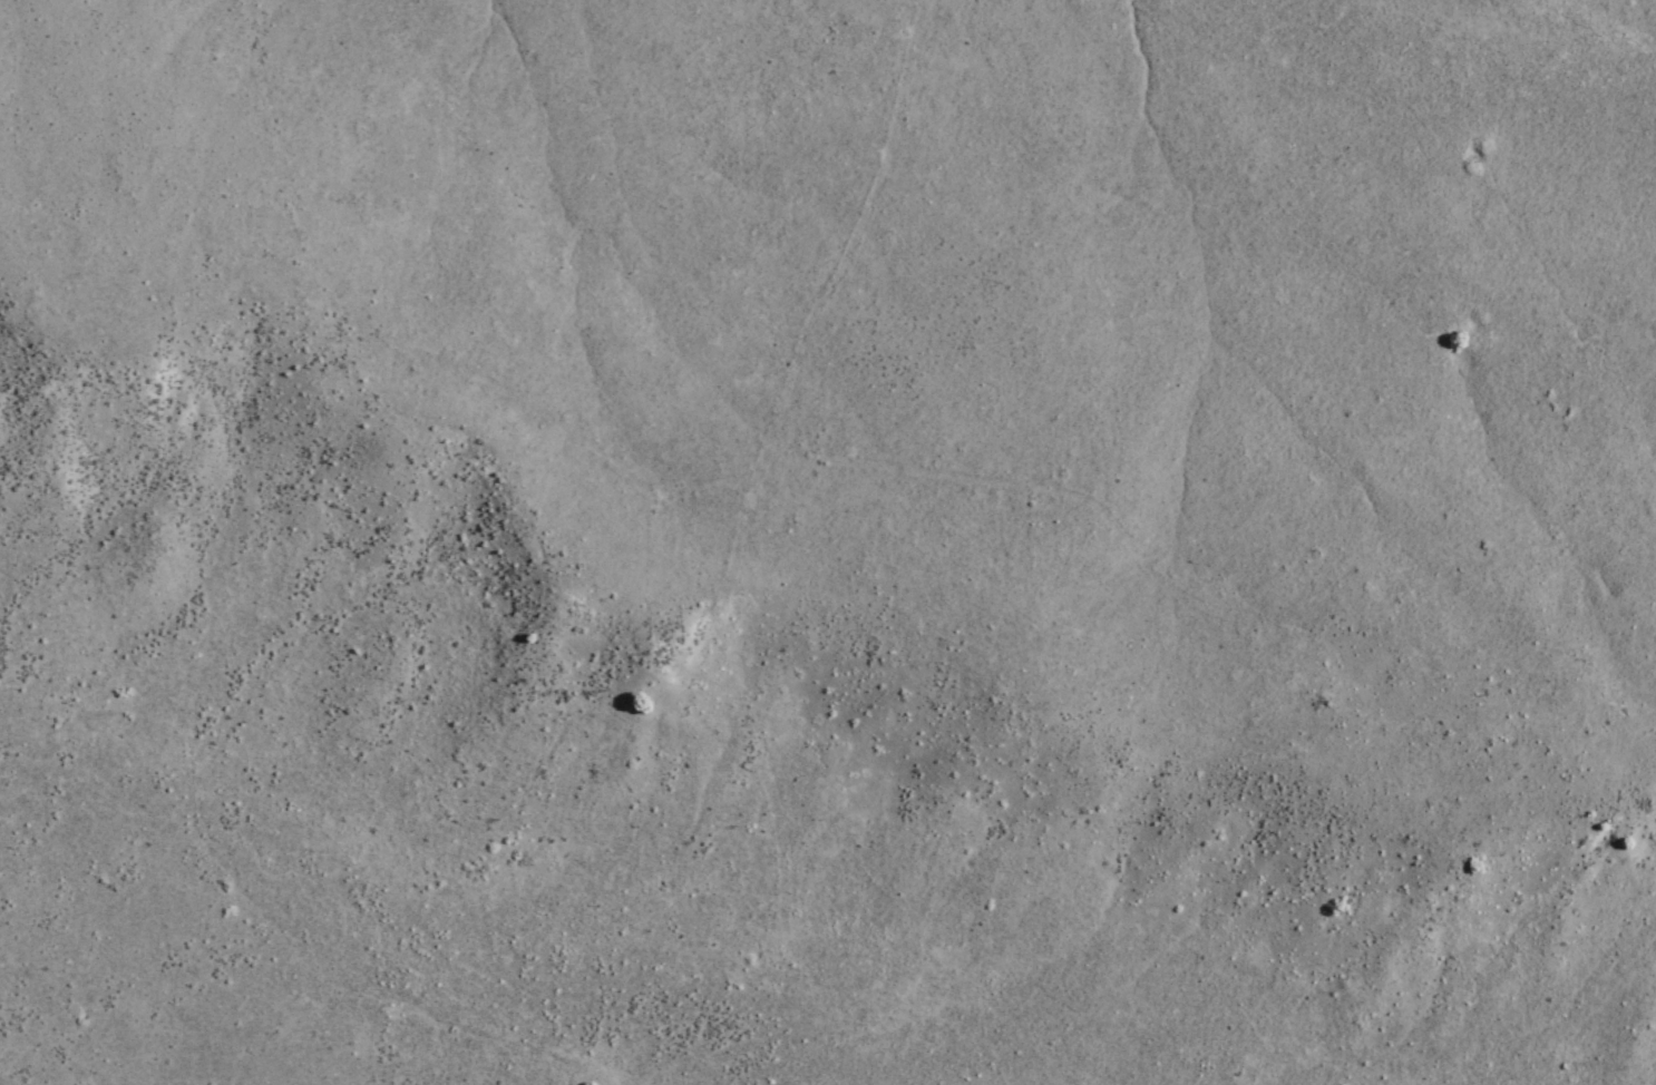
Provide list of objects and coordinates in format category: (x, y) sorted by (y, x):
crop: (844, 1)
crop: (1439, 50)
crop: (577, 888)

